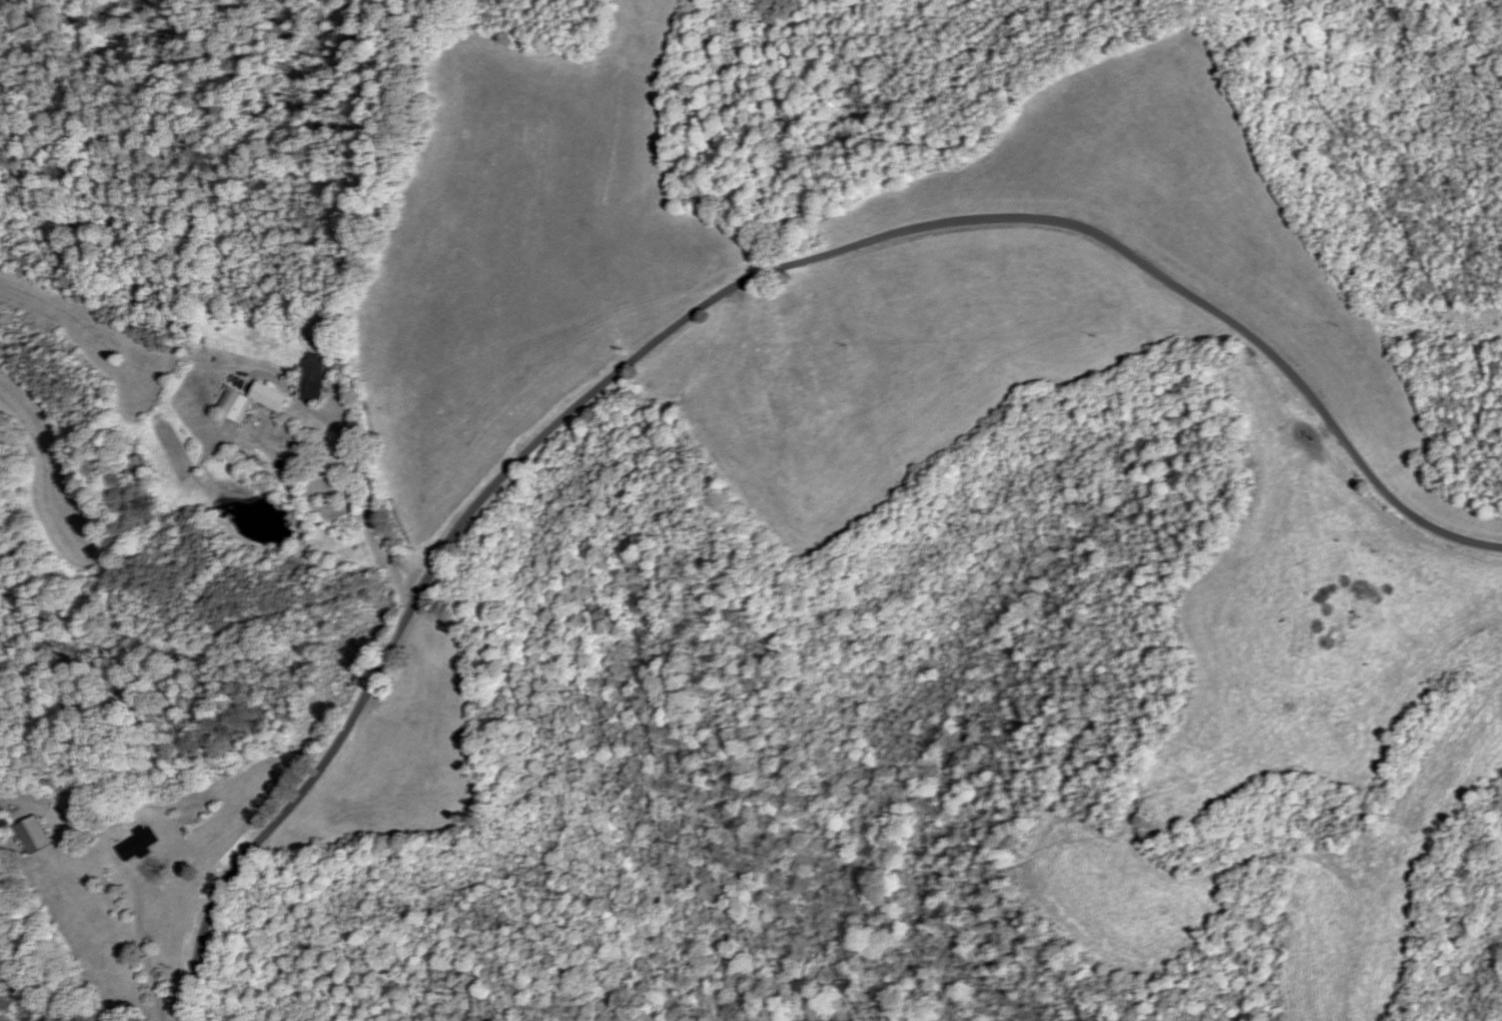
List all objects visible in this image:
road: (717, 299)
building: (314, 379)
building: (252, 403)
road: (376, 489)
building: (3, 817)
building: (34, 835)
building: (138, 844)

